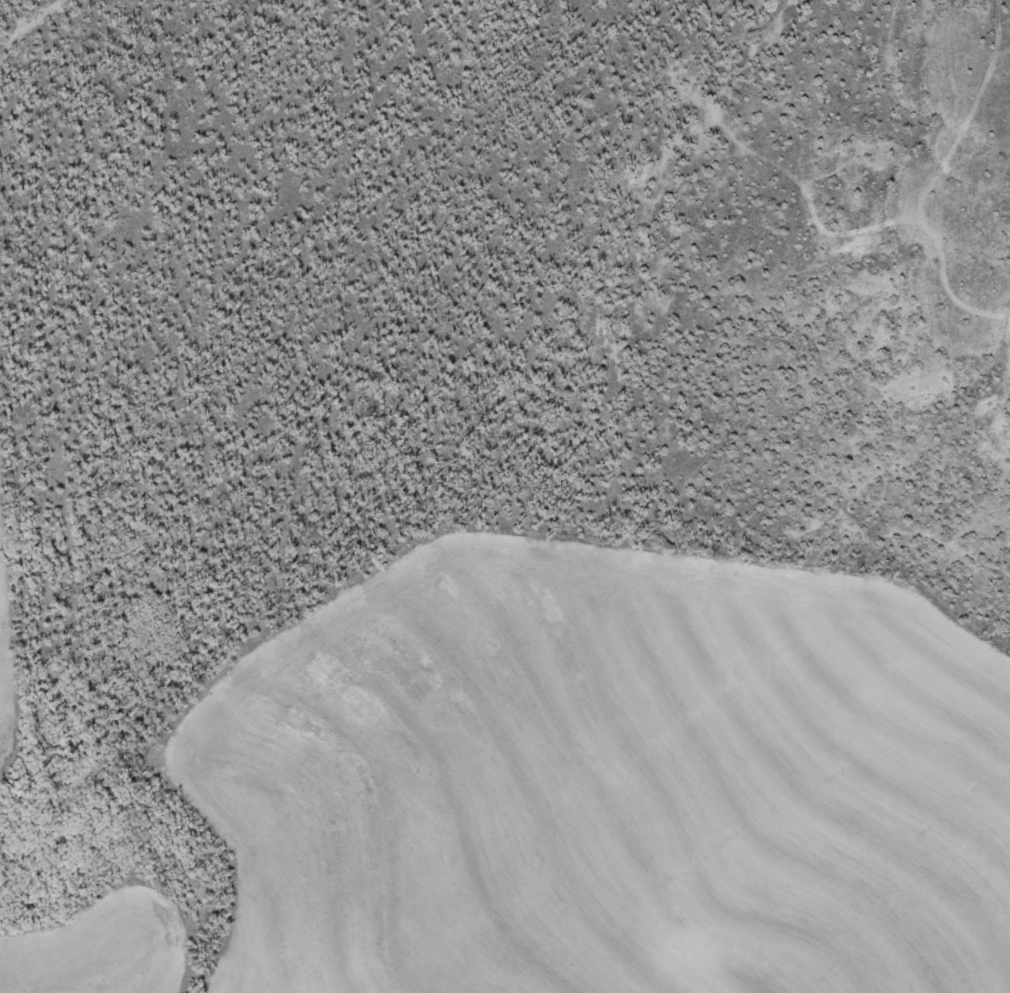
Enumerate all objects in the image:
road: (4, 684)

